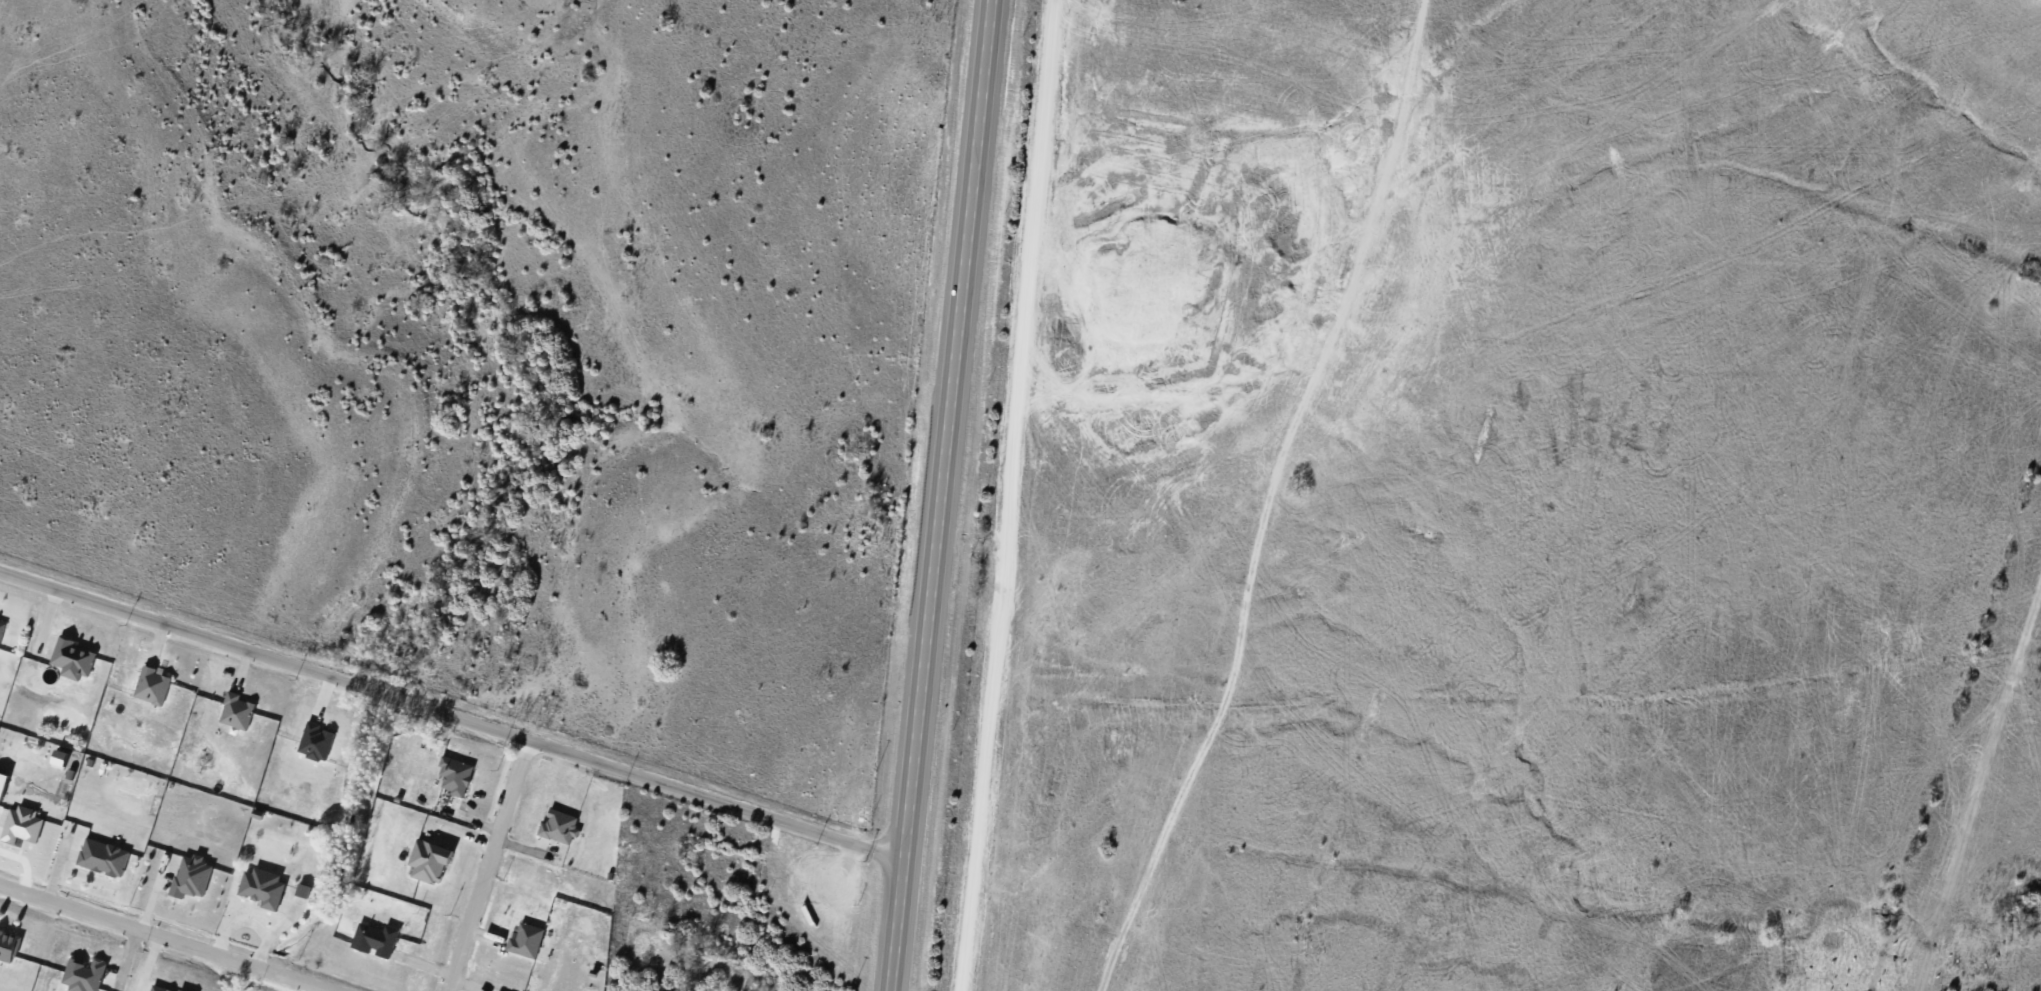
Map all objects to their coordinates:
road: (1381, 170)
road: (941, 495)
road: (1004, 495)
building: (2, 628)
building: (75, 656)
building: (154, 684)
building: (239, 709)
road: (452, 715)
building: (456, 774)
building: (23, 823)
building: (558, 825)
building: (104, 855)
building: (430, 859)
road: (483, 865)
building: (192, 875)
building: (263, 886)
road: (167, 937)
building: (377, 937)
building: (526, 939)
building: (9, 944)
building: (164, 987)

